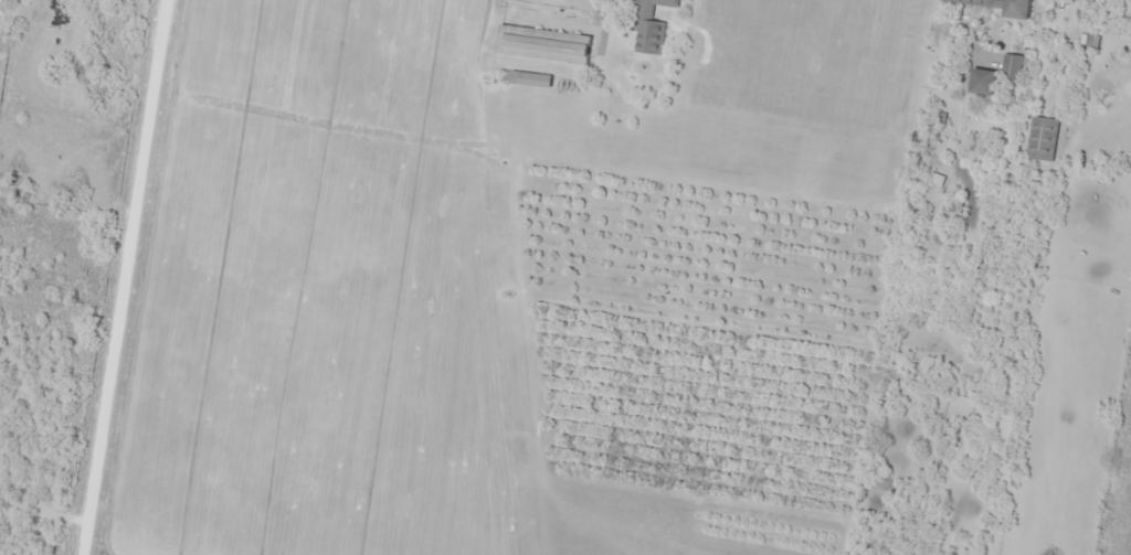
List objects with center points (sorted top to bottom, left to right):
building: (1002, 6)
building: (646, 25)
building: (540, 43)
building: (1010, 67)
building: (524, 77)
building: (982, 81)
building: (1040, 137)
road: (141, 277)

